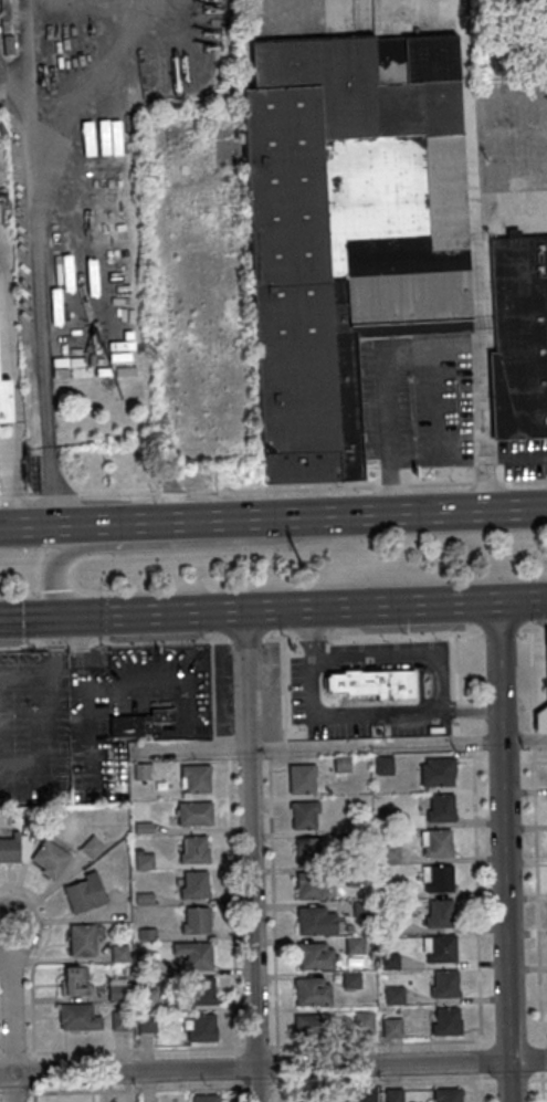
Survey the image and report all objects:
building: (9, 17)
road: (33, 63)
road: (108, 74)
road: (18, 99)
building: (345, 229)
road: (41, 286)
building: (518, 337)
road: (431, 363)
building: (6, 401)
road: (523, 483)
road: (50, 485)
road: (486, 485)
road: (436, 486)
road: (388, 489)
road: (280, 492)
road: (172, 496)
road: (118, 497)
road: (56, 498)
road: (11, 500)
road: (30, 500)
road: (348, 513)
road: (75, 524)
road: (192, 543)
power tower: (302, 567)
road: (522, 599)
road: (248, 609)
traffic signals: (53, 617)
road: (532, 627)
road: (499, 632)
road: (311, 633)
road: (408, 633)
road: (315, 636)
road: (278, 638)
road: (244, 639)
road: (165, 641)
road: (80, 642)
road: (85, 643)
road: (56, 644)
road: (23, 646)
parking lot: (388, 649)
road: (397, 658)
road: (455, 665)
building: (545, 665)
road: (27, 678)
road: (530, 680)
road: (161, 682)
building: (371, 683)
road: (212, 688)
road: (280, 689)
road: (54, 694)
parking lot: (302, 695)
street lamp: (28, 705)
road: (457, 707)
road: (463, 709)
road: (347, 714)
parking lot: (193, 721)
road: (459, 725)
parking lot: (34, 726)
building: (127, 726)
road: (93, 733)
road: (532, 741)
road: (464, 744)
road: (339, 746)
road: (220, 748)
road: (276, 748)
building: (341, 762)
building: (385, 765)
building: (140, 769)
building: (439, 770)
road: (29, 774)
building: (196, 777)
building: (303, 778)
building: (441, 807)
building: (196, 812)
building: (305, 814)
building: (381, 814)
building: (143, 826)
building: (359, 835)
building: (438, 841)
building: (93, 847)
building: (194, 849)
building: (308, 849)
building: (10, 850)
road: (505, 850)
building: (390, 853)
road: (250, 856)
building: (50, 857)
building: (145, 859)
building: (355, 874)
building: (438, 878)
building: (194, 884)
building: (309, 885)
building: (388, 891)
building: (84, 892)
building: (144, 896)
road: (273, 903)
road: (233, 905)
building: (361, 907)
building: (439, 913)
building: (197, 920)
building: (318, 920)
building: (388, 924)
road: (537, 926)
road: (477, 927)
building: (146, 932)
building: (83, 942)
building: (355, 944)
building: (441, 948)
building: (119, 952)
building: (193, 953)
building: (316, 955)
road: (36, 958)
building: (390, 961)
building: (147, 965)
building: (75, 979)
building: (353, 979)
building: (445, 983)
building: (117, 989)
building: (201, 990)
building: (314, 990)
building: (395, 994)
building: (147, 997)
road: (10, 1001)
building: (78, 1016)
building: (120, 1018)
building: (446, 1020)
building: (364, 1021)
building: (148, 1022)
building: (312, 1022)
building: (202, 1026)
building: (393, 1026)
road: (408, 1042)
road: (256, 1046)
road: (135, 1050)
road: (13, 1054)
road: (0, 1056)
road: (276, 1064)
road: (238, 1067)
road: (273, 1068)
road: (33, 1075)
road: (409, 1083)
road: (257, 1085)
road: (13, 1089)
road: (135, 1091)
road: (239, 1091)
road: (277, 1091)
road: (33, 1094)
building: (364, 1094)
building: (445, 1094)
road: (14, 1095)
building: (391, 1095)
road: (1, 1096)
building: (308, 1096)
building: (202, 1099)

